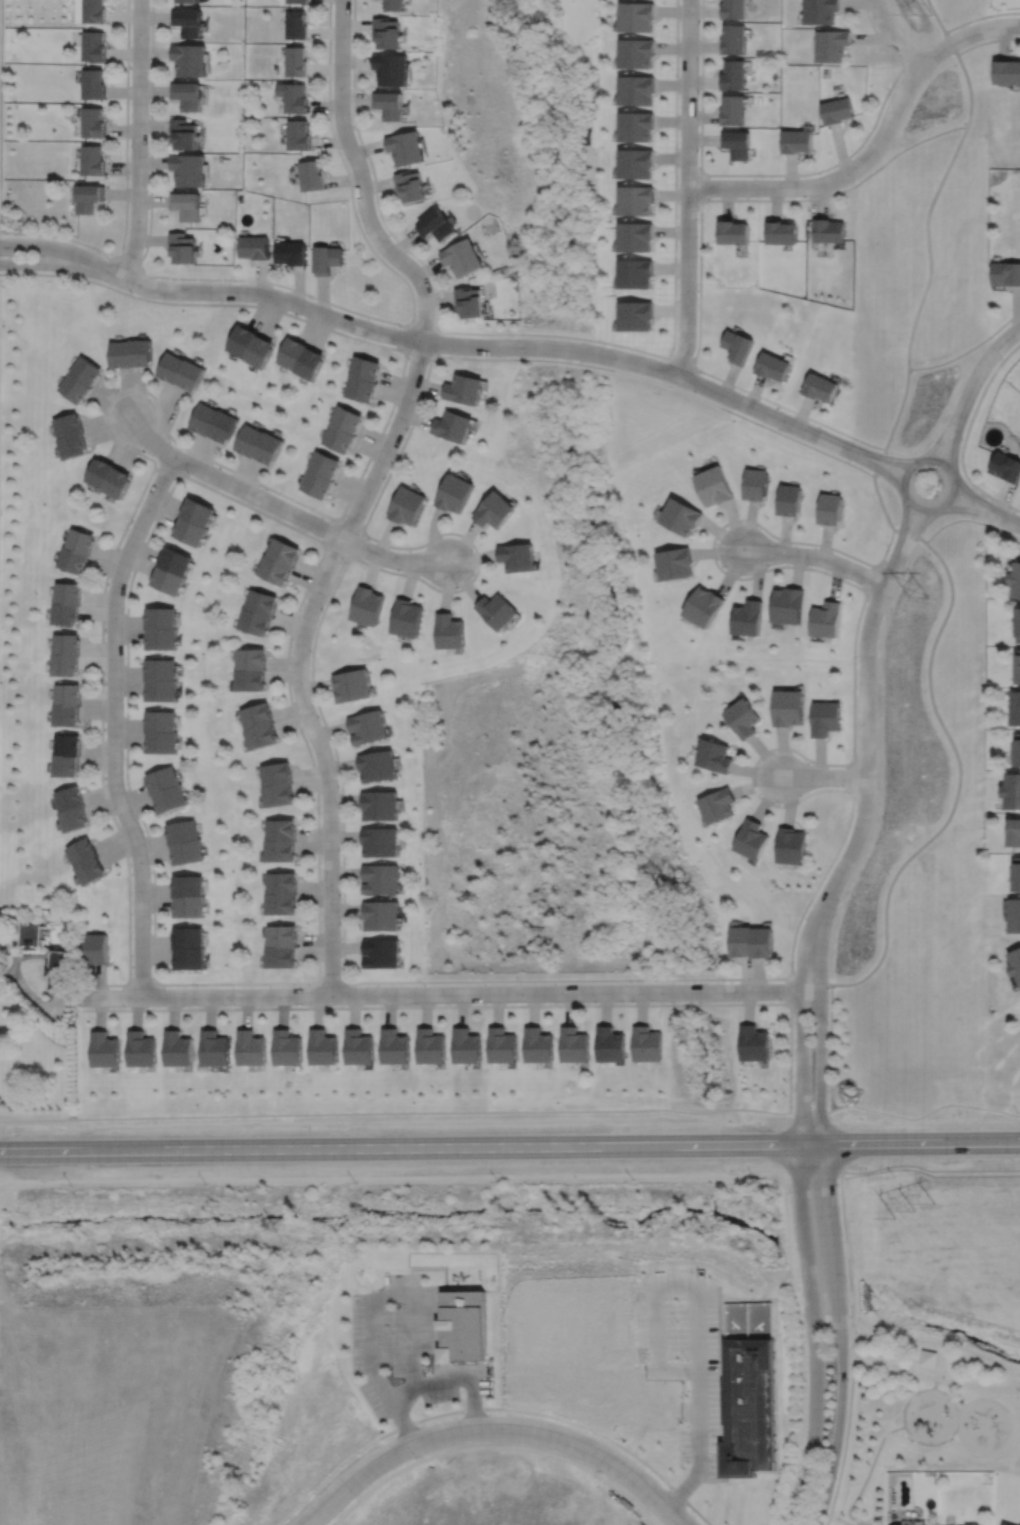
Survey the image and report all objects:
building: (188, 2)
building: (297, 2)
building: (394, 5)
street lamp: (331, 6)
building: (734, 9)
building: (823, 10)
building: (92, 12)
road: (980, 16)
building: (639, 17)
street lamp: (983, 19)
road: (939, 21)
building: (188, 23)
street lamp: (875, 25)
building: (296, 26)
building: (387, 33)
power tower: (934, 33)
road: (893, 35)
building: (734, 38)
road: (986, 41)
building: (834, 44)
building: (92, 47)
building: (639, 54)
building: (190, 61)
building: (295, 63)
street lamp: (129, 69)
building: (392, 69)
building: (1007, 70)
building: (734, 74)
building: (92, 85)
building: (638, 90)
street lamp: (699, 92)
building: (187, 97)
building: (295, 100)
road: (1, 104)
building: (390, 105)
building: (734, 109)
building: (838, 109)
street lamp: (331, 117)
building: (92, 124)
building: (638, 127)
building: (184, 136)
building: (298, 136)
road: (137, 140)
building: (798, 140)
building: (738, 143)
road: (876, 144)
building: (407, 149)
building: (94, 162)
building: (638, 164)
building: (191, 171)
road: (783, 174)
building: (313, 176)
road: (374, 177)
street lamp: (762, 177)
street lamp: (128, 178)
road: (362, 178)
street lamp: (853, 179)
building: (411, 187)
road: (700, 187)
road: (687, 188)
road: (125, 191)
building: (89, 199)
building: (637, 201)
road: (932, 202)
building: (189, 206)
street lamp: (697, 209)
street lamp: (358, 220)
building: (436, 227)
building: (828, 228)
building: (732, 230)
building: (781, 230)
park: (925, 236)
building: (636, 237)
road: (699, 246)
building: (255, 249)
road: (64, 250)
building: (186, 250)
street lamp: (98, 252)
building: (292, 254)
road: (129, 257)
building: (463, 259)
building: (329, 261)
road: (61, 265)
street lamp: (16, 270)
building: (637, 273)
building: (1006, 273)
street lamp: (235, 281)
street lamp: (433, 290)
street lamp: (130, 292)
road: (674, 294)
road: (314, 296)
street lamp: (310, 297)
street lamp: (697, 297)
road: (204, 303)
building: (470, 304)
building: (637, 315)
street lamp: (400, 326)
street lamp: (512, 336)
building: (251, 344)
street lamp: (604, 344)
building: (737, 345)
road: (521, 346)
road: (968, 350)
building: (131, 352)
road: (430, 354)
building: (301, 356)
road: (680, 361)
building: (772, 364)
building: (182, 369)
street lamp: (703, 374)
building: (364, 377)
building: (80, 378)
building: (820, 385)
building: (463, 387)
street lamp: (116, 388)
road: (969, 388)
street lamp: (779, 408)
building: (214, 421)
building: (452, 425)
street lamp: (408, 426)
building: (343, 428)
building: (70, 434)
road: (965, 434)
road: (149, 439)
street lamp: (962, 439)
building: (259, 443)
road: (882, 456)
street lamp: (851, 461)
building: (1005, 466)
street lamp: (366, 468)
road: (151, 471)
road: (165, 472)
building: (322, 473)
street lamp: (188, 474)
road: (950, 474)
building: (109, 477)
building: (757, 486)
building: (714, 487)
street lamp: (265, 489)
building: (453, 492)
road: (258, 497)
building: (791, 501)
building: (405, 505)
road: (985, 508)
building: (493, 510)
building: (831, 510)
building: (682, 518)
road: (970, 519)
building: (195, 521)
street lamp: (741, 521)
street lamp: (990, 522)
street lamp: (127, 528)
road: (302, 532)
road: (360, 532)
street lamp: (368, 539)
building: (75, 550)
street lamp: (889, 550)
building: (516, 556)
road: (815, 556)
road: (395, 559)
building: (279, 561)
street lamp: (344, 561)
building: (675, 565)
street lamp: (811, 566)
building: (172, 570)
road: (872, 579)
building: (1015, 580)
power tower: (930, 583)
street lamp: (456, 586)
street lamp: (125, 594)
building: (65, 604)
building: (365, 606)
building: (789, 607)
building: (705, 608)
building: (496, 611)
building: (257, 612)
building: (405, 618)
building: (749, 620)
building: (828, 621)
building: (1018, 624)
building: (162, 628)
building: (448, 632)
street lamp: (290, 645)
building: (65, 655)
road: (299, 657)
street lamp: (857, 664)
building: (1018, 669)
building: (250, 670)
street lamp: (104, 680)
building: (161, 680)
building: (350, 686)
building: (65, 705)
building: (789, 708)
building: (1015, 708)
street lamp: (319, 718)
building: (826, 718)
building: (744, 719)
road: (113, 722)
building: (259, 727)
building: (366, 727)
building: (161, 732)
road: (866, 749)
building: (1018, 751)
street lamp: (856, 755)
building: (65, 756)
building: (716, 756)
street lamp: (123, 757)
building: (375, 766)
road: (959, 774)
road: (824, 776)
road: (852, 777)
building: (278, 785)
building: (166, 790)
building: (1012, 792)
street lamp: (779, 803)
building: (378, 806)
building: (719, 806)
building: (70, 810)
street lamp: (319, 814)
street lamp: (114, 818)
building: (1015, 834)
building: (754, 841)
building: (280, 842)
building: (185, 843)
building: (378, 843)
building: (793, 847)
park: (918, 847)
building: (85, 862)
building: (1017, 872)
building: (379, 880)
building: (281, 895)
building: (189, 897)
street lamp: (340, 897)
street lamp: (839, 901)
building: (1014, 914)
building: (379, 916)
street lamp: (151, 922)
building: (31, 934)
building: (742, 944)
building: (763, 944)
building: (96, 946)
building: (281, 948)
building: (189, 950)
building: (380, 954)
building: (1015, 961)
road: (13, 964)
building: (59, 968)
street lamp: (793, 969)
road: (389, 981)
street lamp: (723, 981)
road: (332, 982)
street lamp: (631, 982)
street lamp: (522, 983)
road: (141, 984)
street lamp: (423, 984)
street lamp: (308, 985)
street lamp: (196, 986)
road: (820, 986)
road: (790, 990)
road: (445, 993)
road: (34, 998)
road: (490, 1005)
street lamp: (124, 1007)
street lamp: (828, 1023)
building: (754, 1042)
building: (647, 1043)
building: (538, 1044)
building: (574, 1044)
building: (610, 1044)
building: (359, 1045)
building: (395, 1045)
building: (431, 1045)
building: (467, 1045)
building: (503, 1045)
building: (323, 1046)
building: (178, 1047)
building: (215, 1047)
building: (252, 1047)
building: (287, 1047)
road: (830, 1047)
building: (105, 1048)
building: (141, 1048)
road: (800, 1065)
road: (820, 1065)
street lamp: (792, 1077)
road: (513, 1110)
road: (834, 1141)
road: (920, 1142)
road: (410, 1147)
road: (929, 1169)
power tower: (913, 1210)
road: (848, 1261)
road: (424, 1267)
road: (371, 1306)
road: (434, 1318)
building: (462, 1327)
road: (841, 1334)
road: (813, 1335)
parking lot: (401, 1348)
building: (929, 1359)
road: (937, 1365)
road: (455, 1368)
road: (934, 1377)
road: (452, 1379)
road: (697, 1404)
park: (918, 1413)
road: (437, 1414)
road: (902, 1425)
road: (493, 1426)
road: (1009, 1429)
road: (845, 1439)
road: (919, 1440)
road: (867, 1475)
parking lot: (857, 1522)
road: (864, 1523)
building: (895, 1523)
building: (1007, 1523)
building: (972, 1524)

